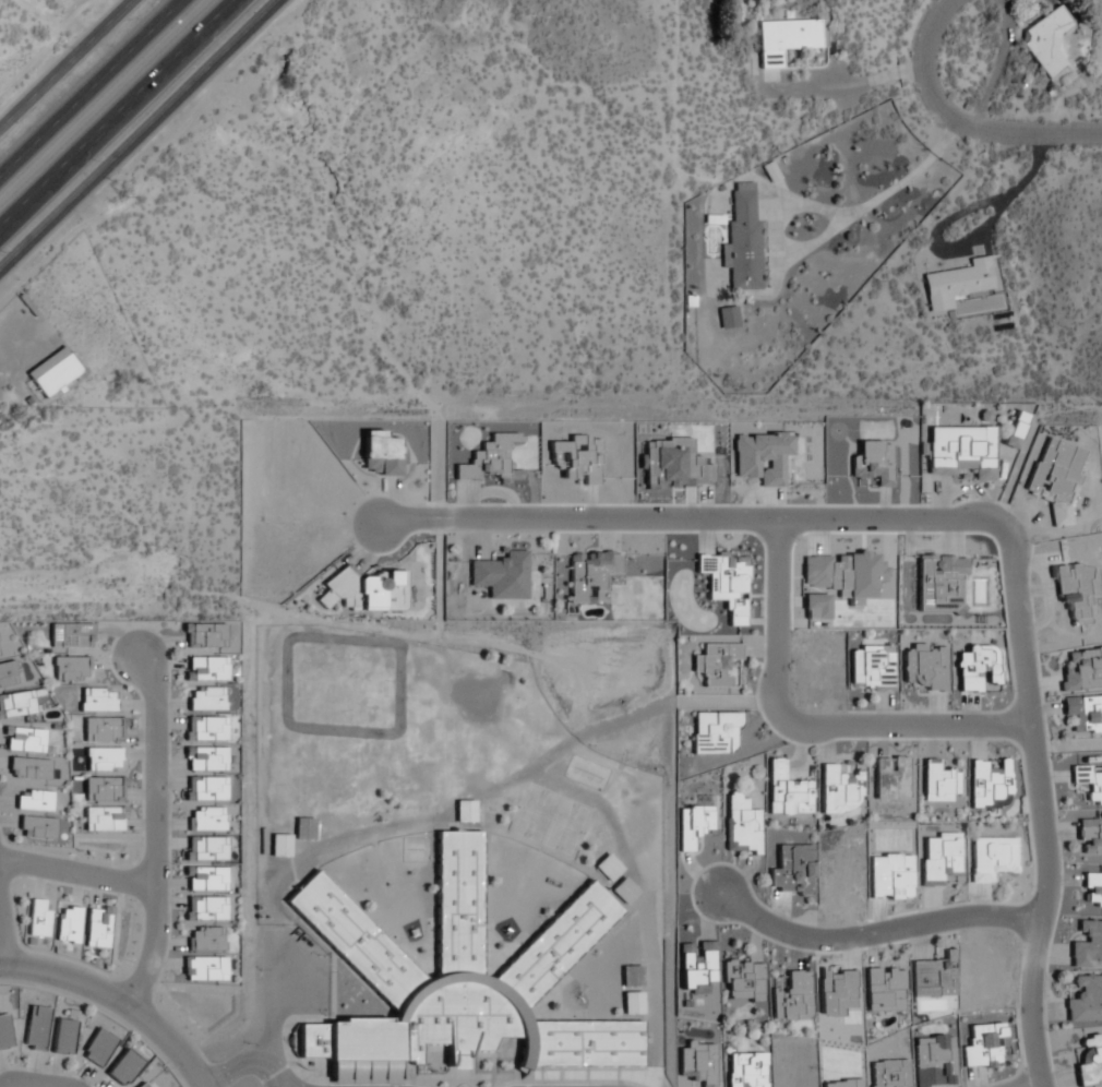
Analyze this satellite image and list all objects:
building: (788, 38)
building: (1046, 41)
road: (65, 63)
road: (86, 84)
road: (115, 112)
road: (960, 123)
road: (140, 133)
power tower: (122, 194)
building: (743, 240)
building: (956, 284)
building: (728, 318)
building: (52, 373)
building: (1014, 428)
building: (960, 452)
building: (381, 454)
building: (763, 456)
road: (980, 521)
building: (590, 574)
building: (503, 575)
building: (364, 590)
building: (71, 634)
building: (203, 635)
building: (716, 664)
building: (926, 665)
building: (872, 667)
building: (71, 668)
building: (205, 668)
building: (979, 669)
building: (1081, 670)
building: (10, 672)
building: (205, 698)
building: (97, 700)
building: (16, 704)
building: (1083, 713)
building: (103, 729)
building: (205, 729)
road: (812, 729)
building: (715, 732)
building: (24, 739)
building: (205, 757)
building: (103, 758)
building: (28, 768)
building: (891, 777)
building: (1089, 781)
building: (939, 783)
building: (205, 788)
building: (103, 789)
road: (498, 789)
building: (839, 790)
building: (787, 791)
building: (34, 800)
building: (465, 811)
building: (104, 819)
building: (206, 819)
building: (693, 825)
building: (742, 825)
building: (36, 827)
road: (161, 834)
building: (1090, 838)
building: (280, 845)
building: (205, 849)
building: (941, 858)
building: (993, 858)
building: (792, 871)
road: (81, 875)
building: (205, 879)
building: (623, 891)
road: (643, 900)
building: (206, 909)
building: (37, 919)
road: (8, 924)
building: (68, 924)
building: (97, 927)
road: (874, 934)
building: (206, 939)
building: (1087, 944)
building: (697, 966)
building: (204, 968)
building: (934, 977)
building: (460, 980)
building: (743, 980)
building: (884, 989)
building: (792, 998)
building: (1085, 1000)
road: (117, 1002)
building: (36, 1029)
road: (271, 1030)
building: (5, 1032)
building: (63, 1037)
building: (985, 1046)
building: (97, 1048)
building: (123, 1067)
building: (746, 1070)
road: (274, 1073)
road: (276, 1082)
building: (142, 1085)

